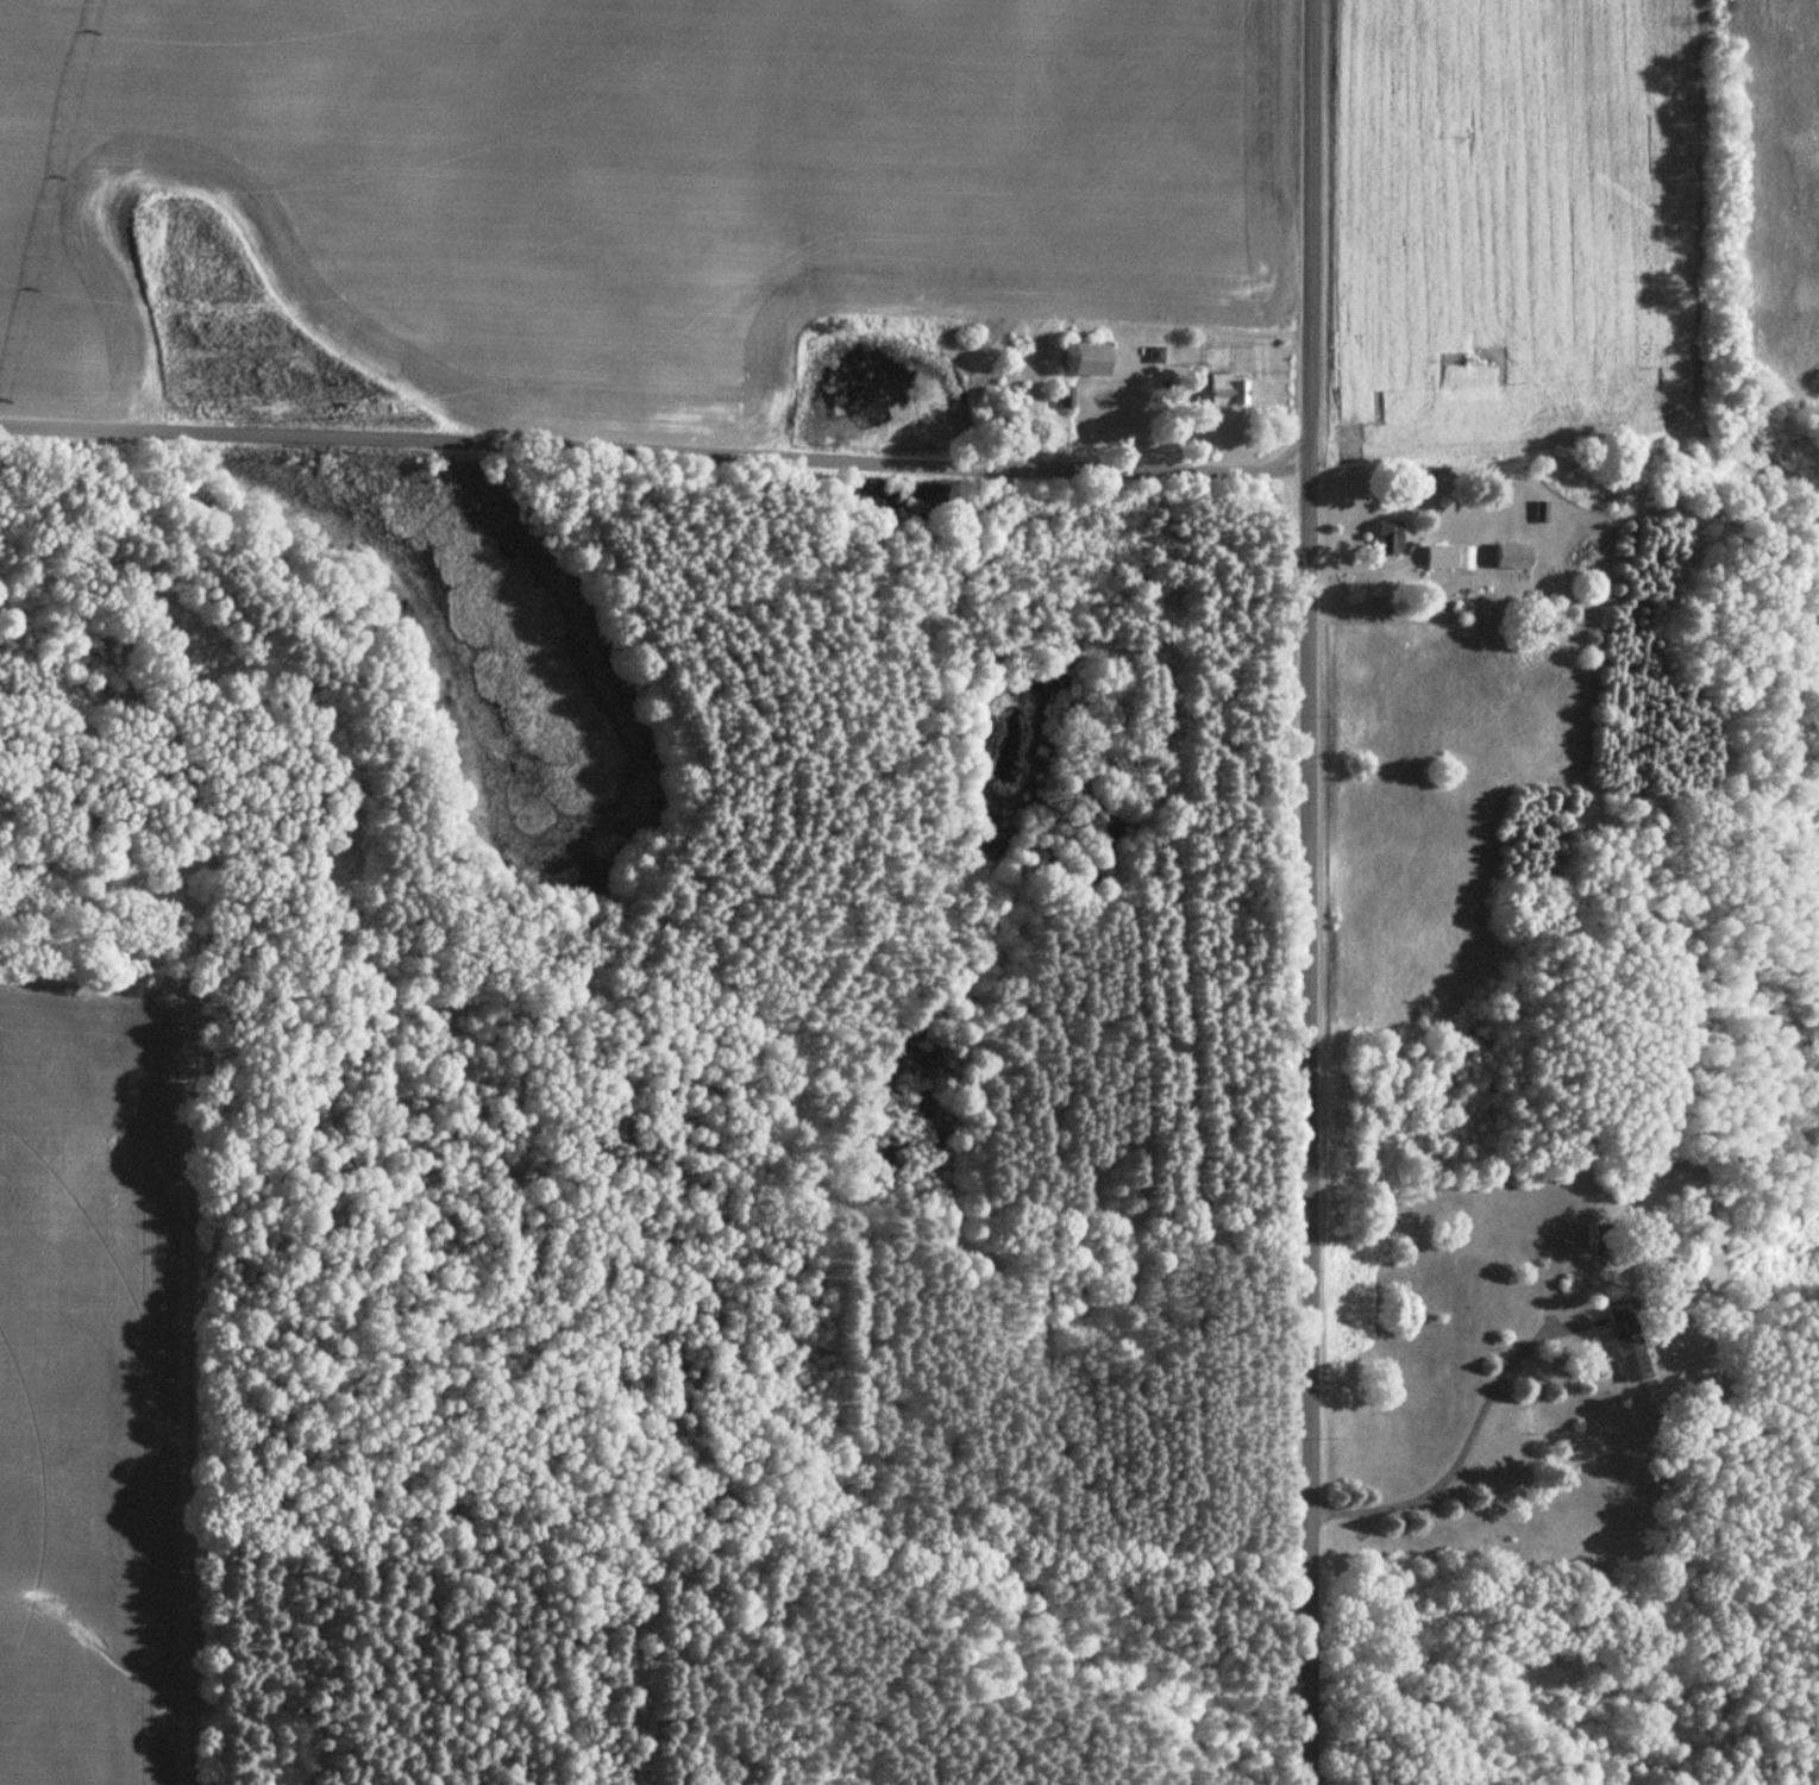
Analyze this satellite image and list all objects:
building: (1090, 359)
building: (1229, 390)
road: (654, 443)
road: (1563, 471)
building: (1388, 538)
building: (1513, 557)
building: (1448, 559)
road: (1310, 891)
building: (1600, 1238)
building: (1630, 1355)
road: (1467, 1439)

